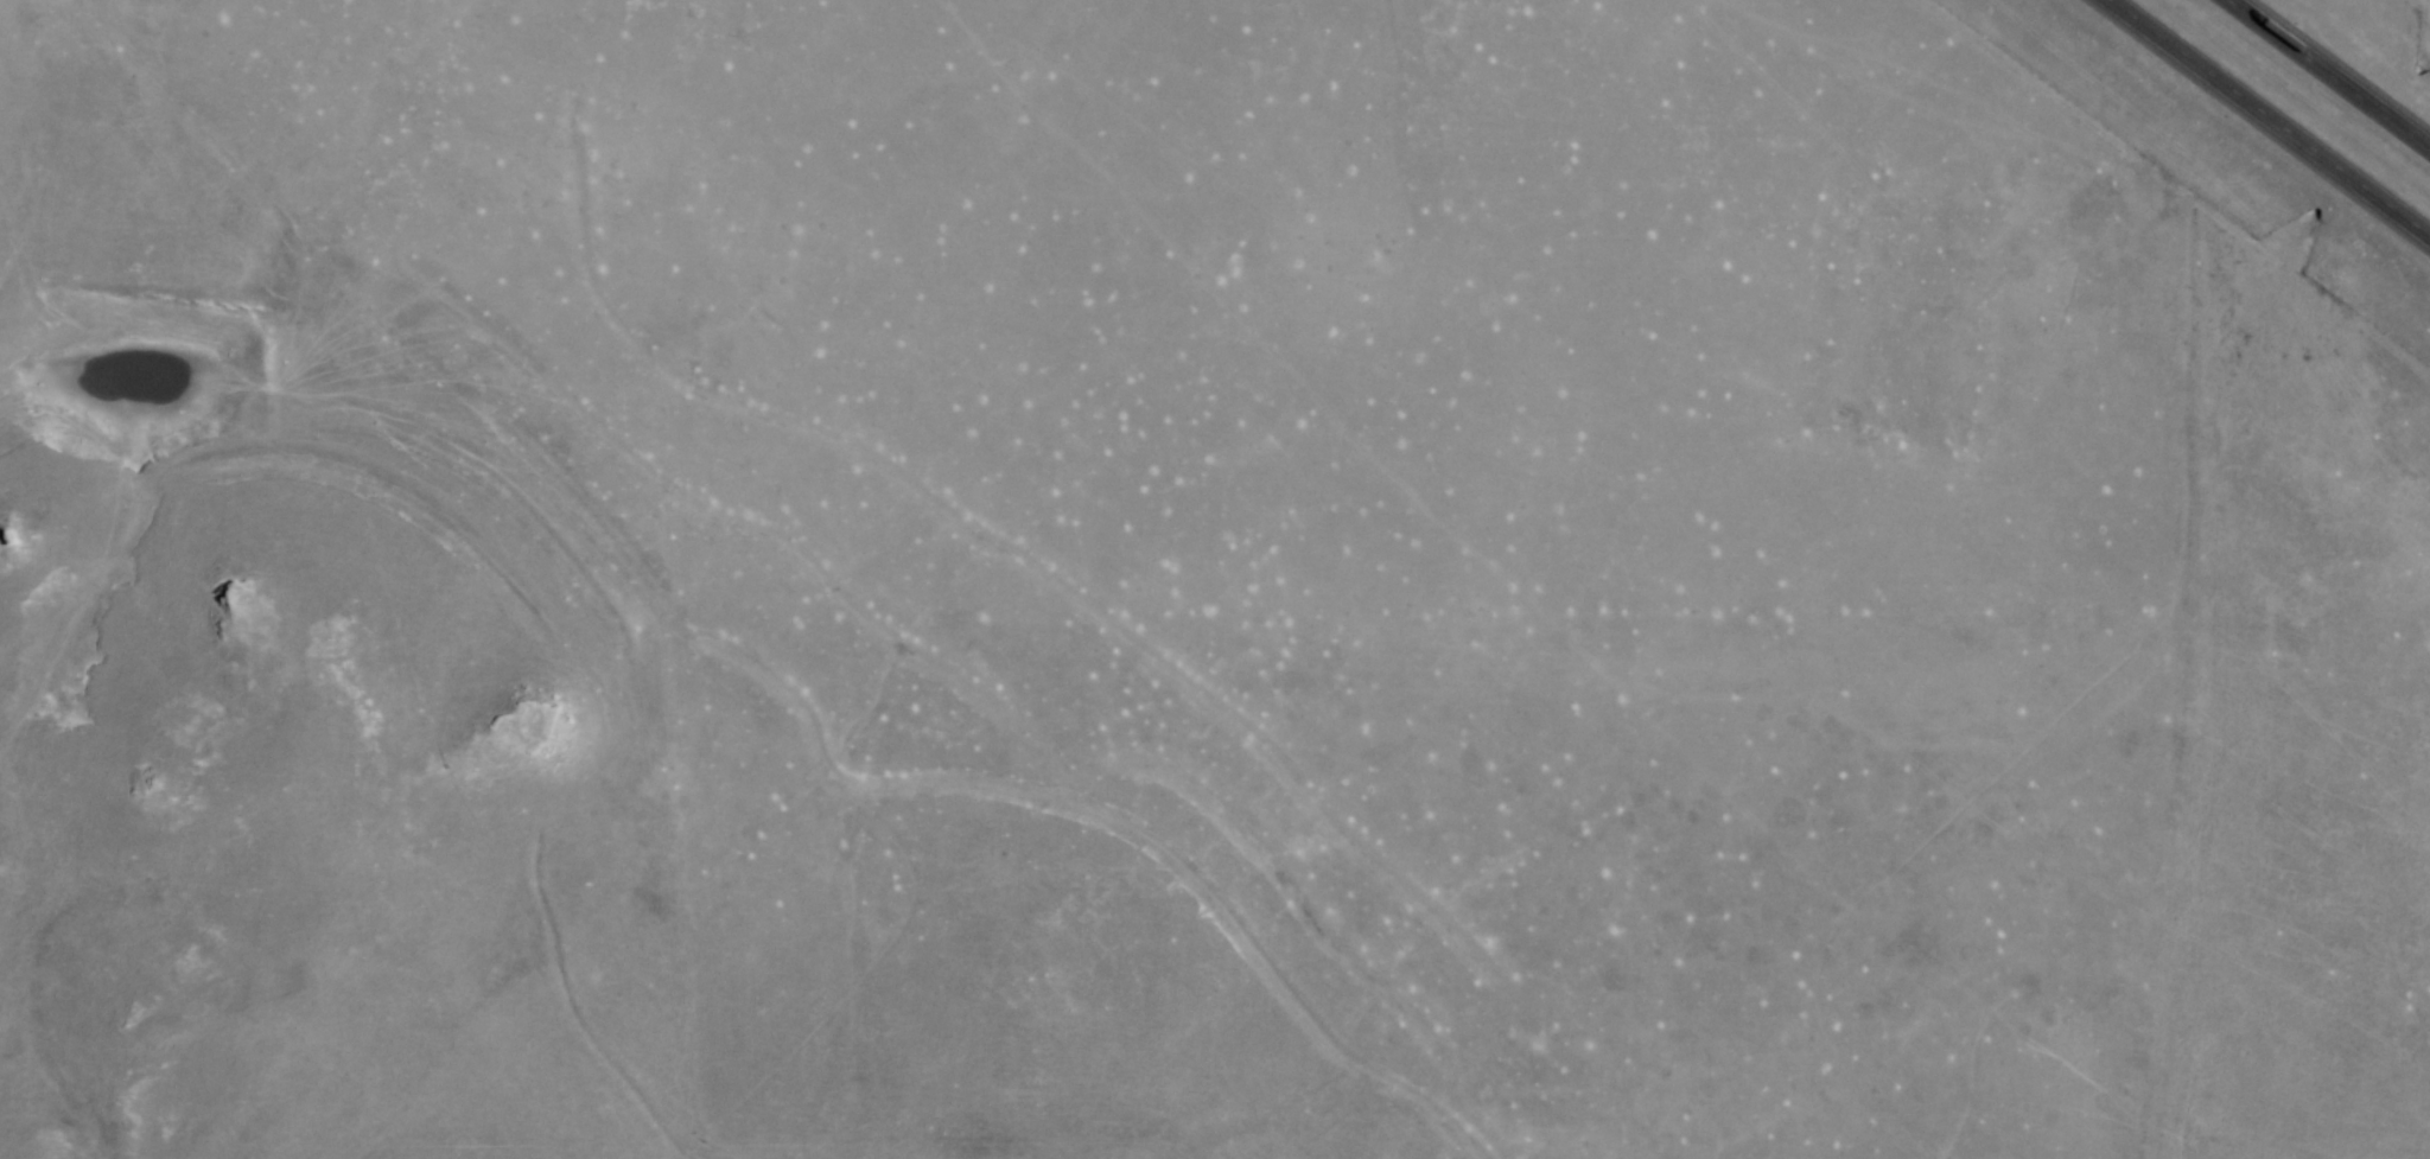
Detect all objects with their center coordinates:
road: (2329, 74)
road: (2272, 116)

